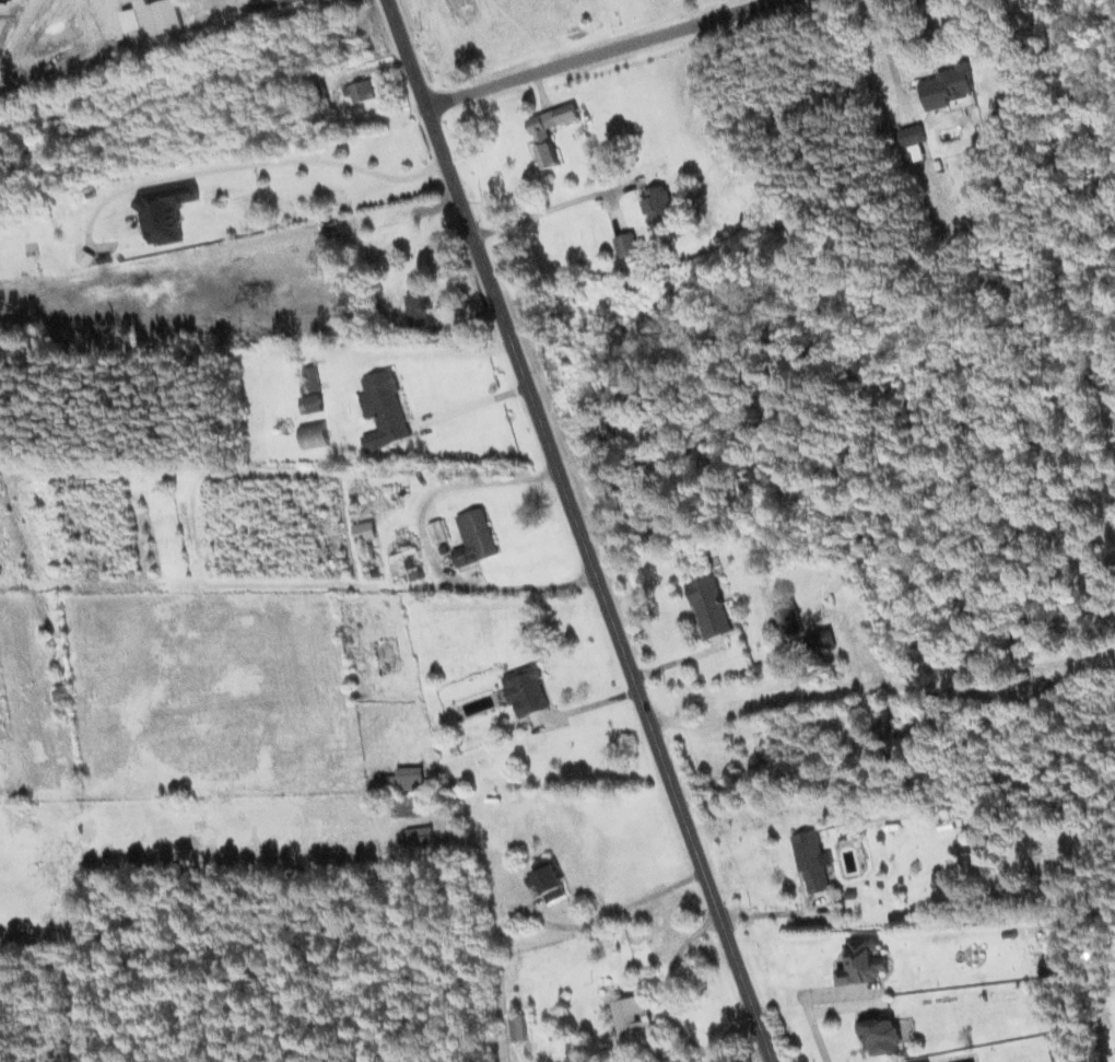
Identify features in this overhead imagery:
building: (154, 17)
road: (599, 50)
building: (948, 86)
building: (361, 91)
building: (542, 136)
building: (914, 142)
road: (259, 163)
building: (657, 202)
building: (165, 212)
road: (538, 213)
building: (625, 244)
building: (416, 310)
building: (312, 378)
building: (312, 404)
building: (384, 410)
building: (314, 434)
building: (365, 530)
road: (578, 530)
building: (438, 532)
building: (474, 538)
building: (709, 607)
building: (788, 618)
building: (821, 640)
building: (527, 690)
building: (61, 692)
building: (407, 779)
building: (409, 805)
building: (420, 837)
building: (813, 862)
building: (549, 879)
road: (618, 911)
building: (862, 962)
road: (666, 990)
building: (633, 1022)
building: (518, 1027)
building: (881, 1036)
road: (748, 1055)

